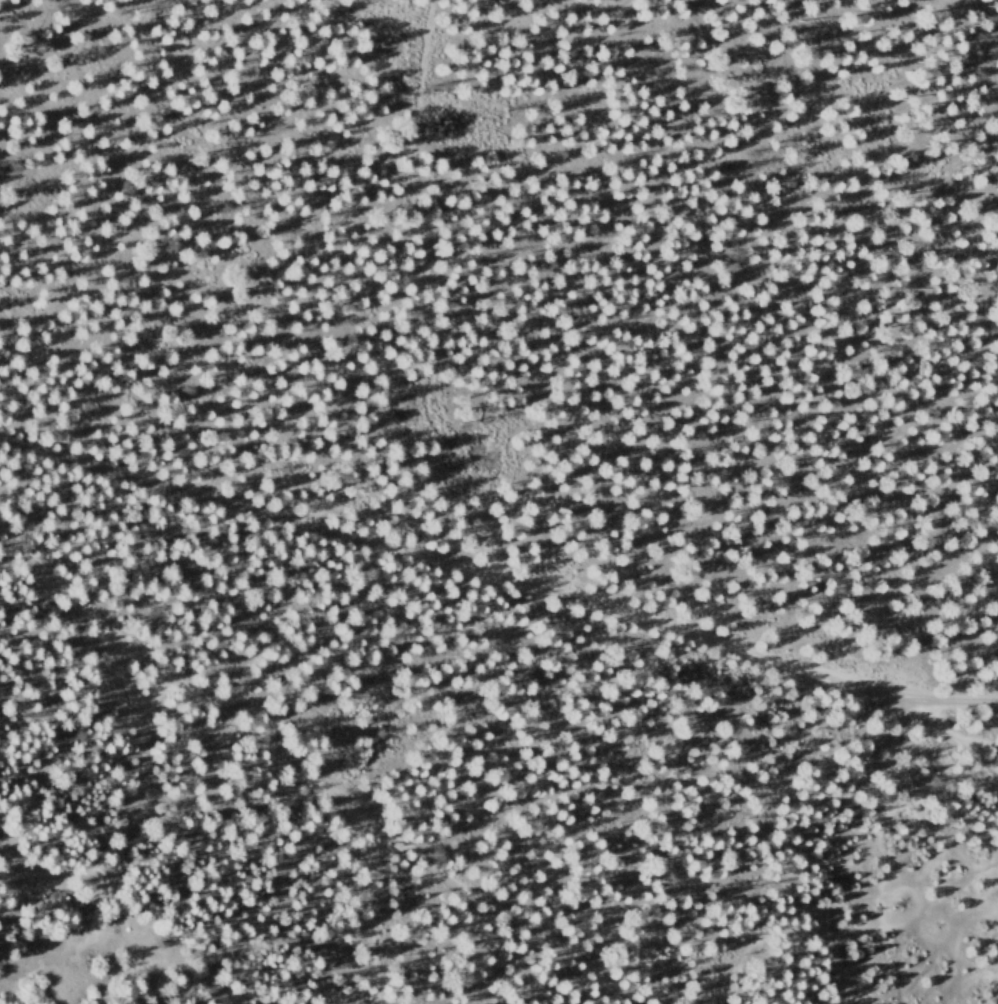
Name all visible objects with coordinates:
road: (497, 581)
road: (248, 733)
road: (954, 738)
road: (138, 799)
road: (486, 899)

